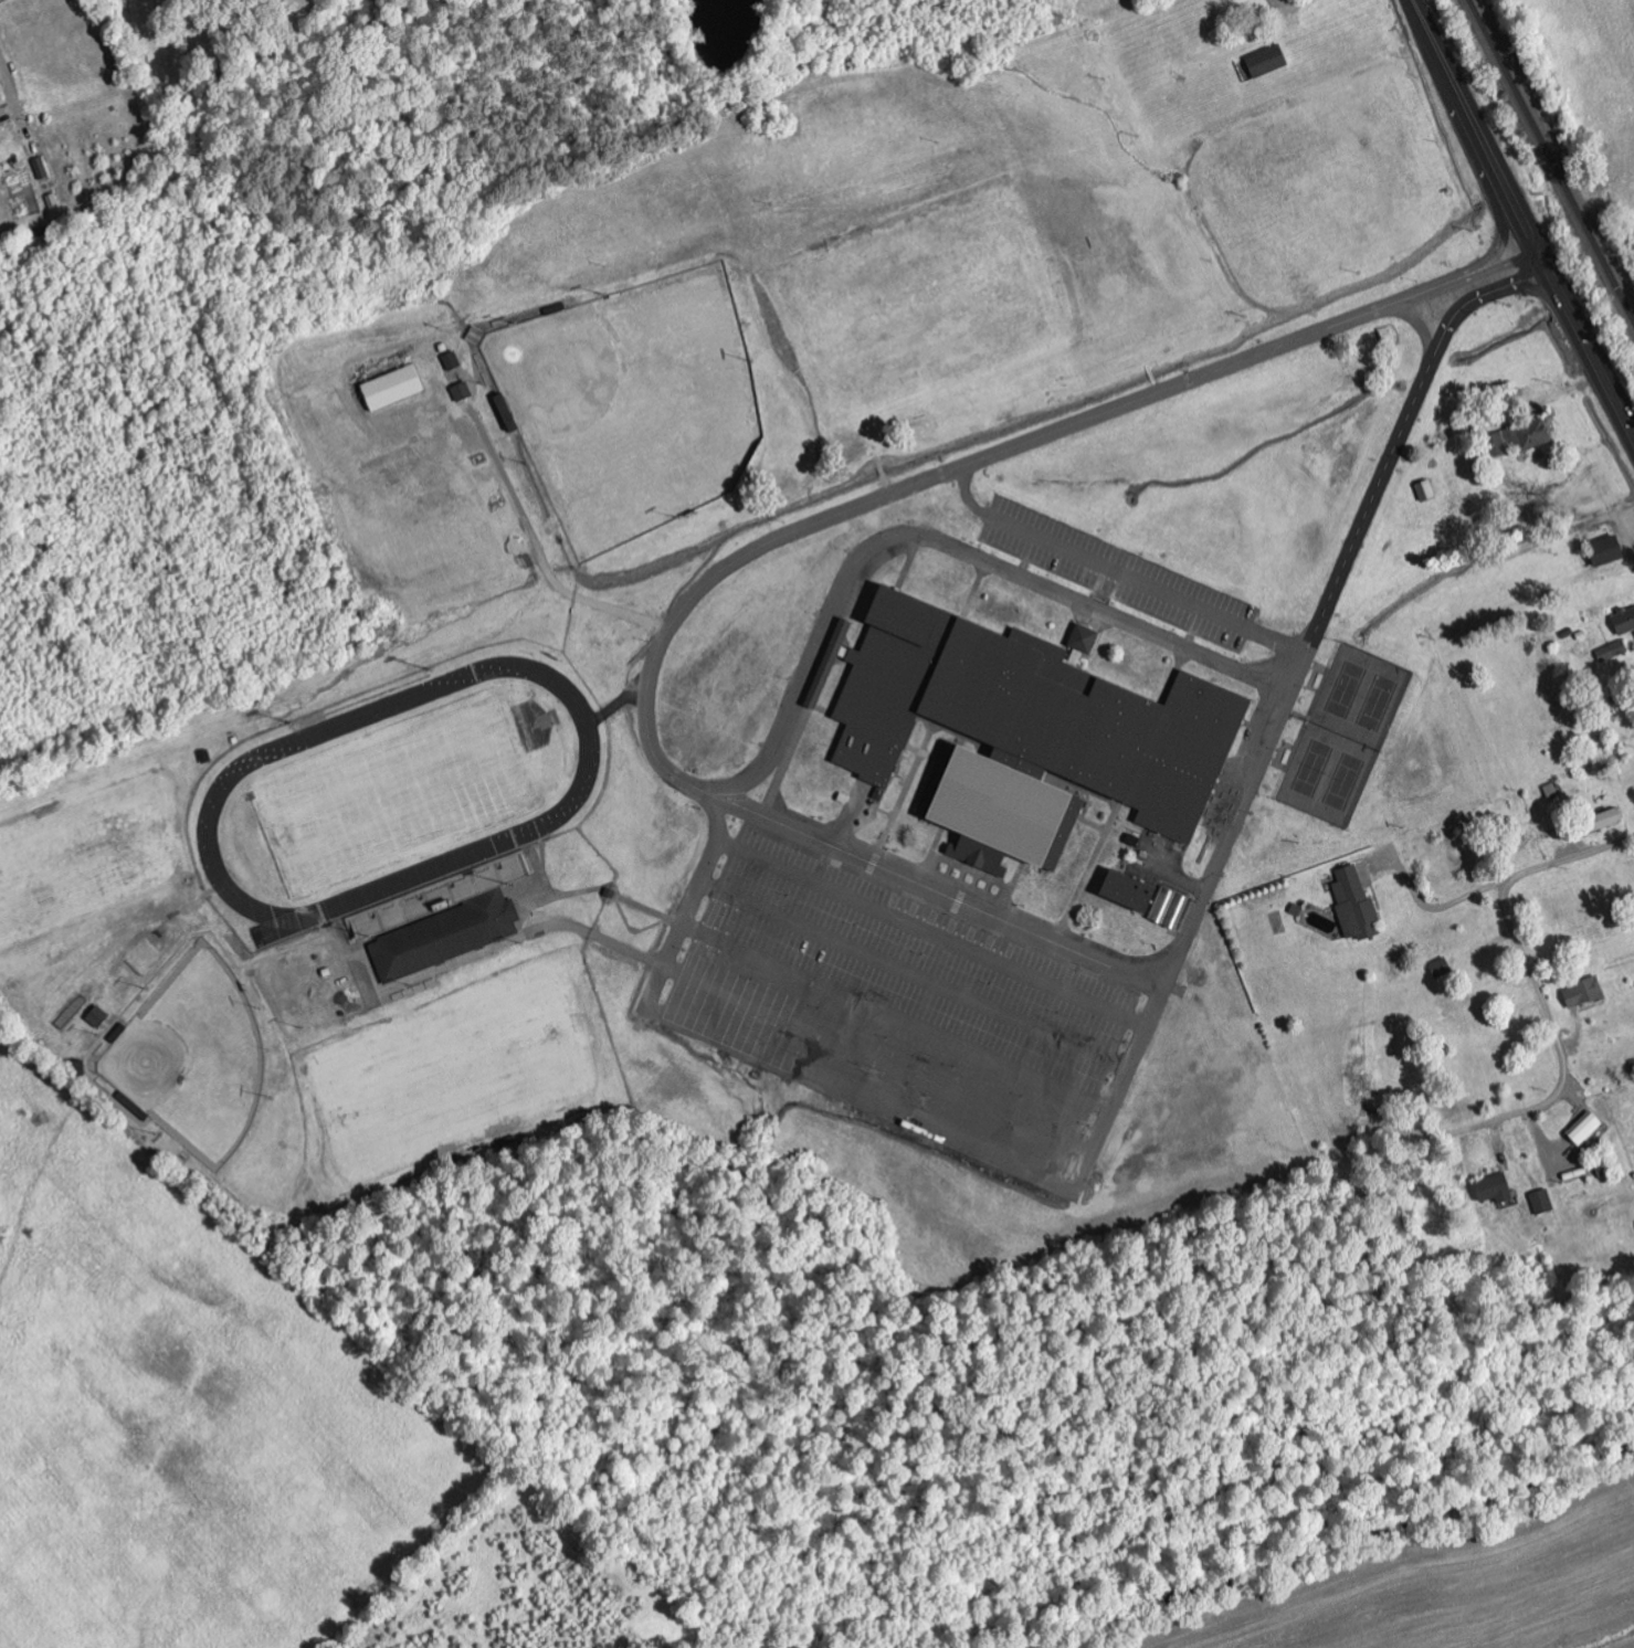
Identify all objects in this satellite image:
building: (1266, 62)
railway: (1550, 162)
building: (41, 169)
road: (1521, 220)
road: (1505, 231)
road: (1521, 278)
road: (1535, 289)
road: (1422, 331)
building: (452, 361)
building: (392, 389)
building: (462, 392)
building: (1520, 436)
road: (993, 454)
road: (941, 540)
building: (1606, 550)
road: (1115, 574)
building: (1624, 622)
building: (1083, 640)
building: (1022, 732)
building: (1600, 822)
road: (1222, 863)
building: (1127, 891)
building: (1356, 906)
building: (1169, 908)
building: (445, 937)
building: (1441, 969)
building: (1583, 993)
building: (97, 1017)
road: (1551, 1022)
building: (1584, 1129)
building: (1494, 1190)
building: (1542, 1203)

